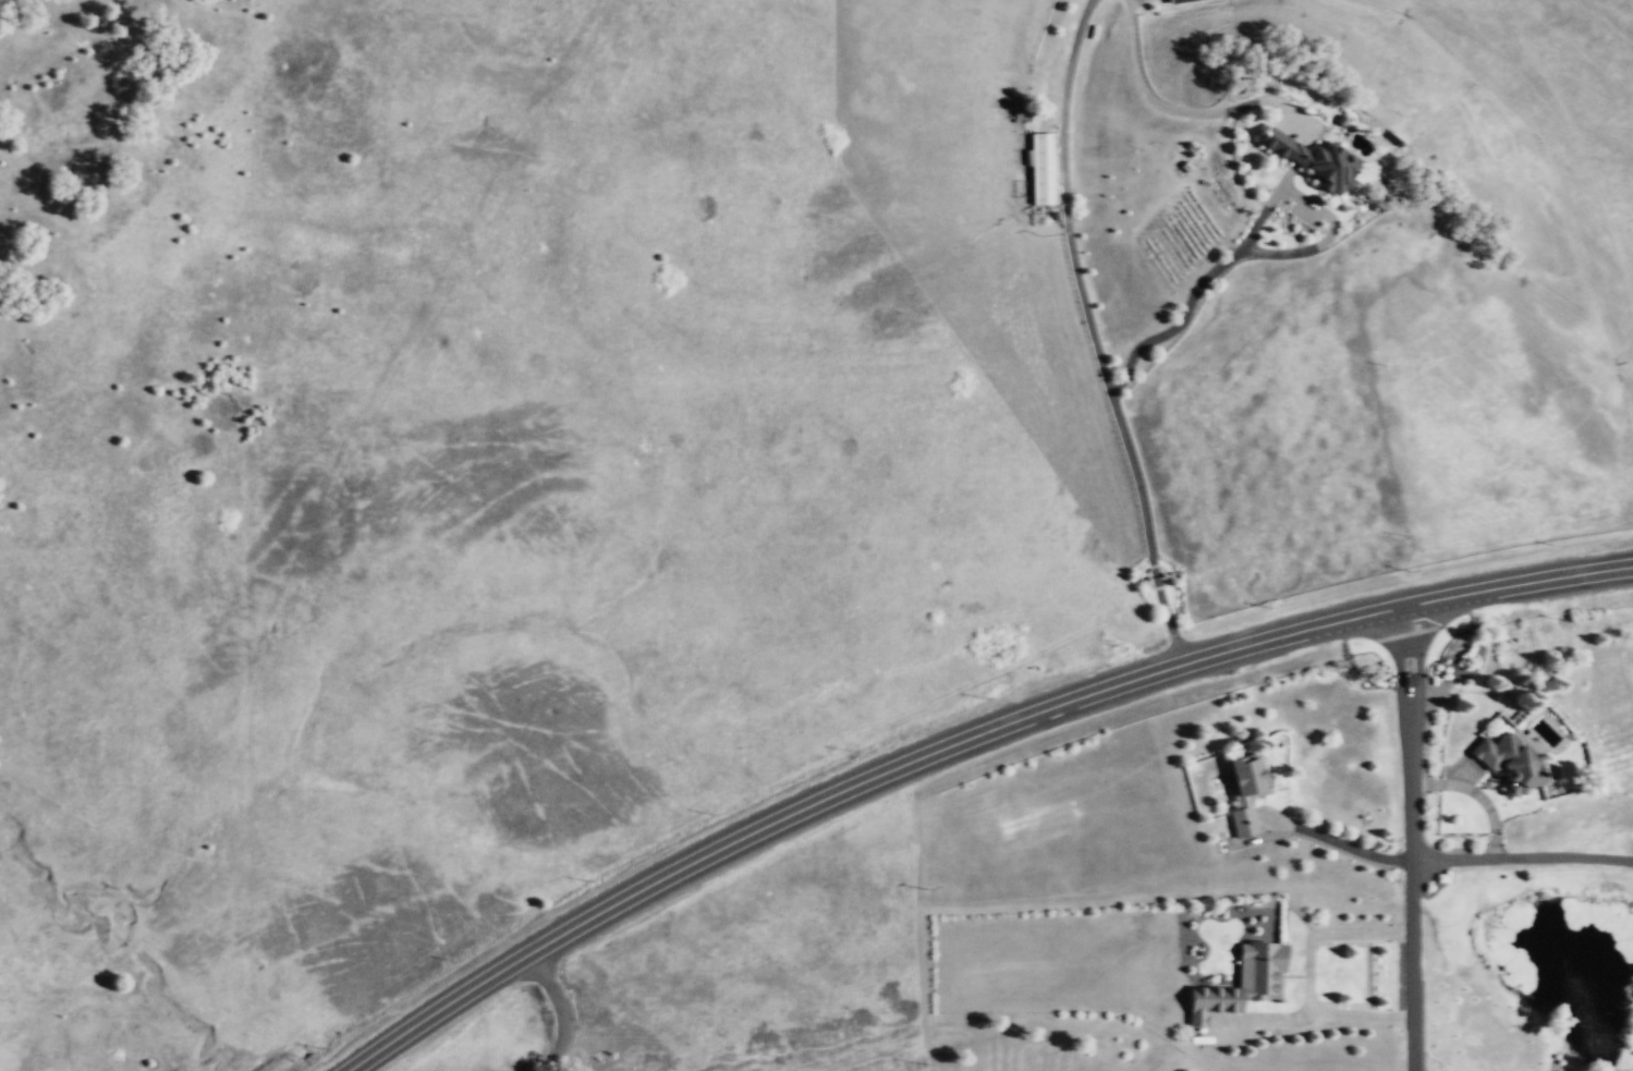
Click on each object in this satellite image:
building: (1172, 0)
road: (1065, 74)
road: (1184, 111)
building: (1309, 158)
building: (1041, 167)
road: (1251, 232)
road: (1116, 411)
road: (1064, 707)
building: (1508, 760)
building: (1243, 789)
road: (1480, 796)
road: (1418, 841)
road: (1340, 844)
road: (1526, 861)
road: (1306, 971)
building: (1239, 983)
road: (563, 1006)
road: (436, 1009)
road: (1264, 1018)

